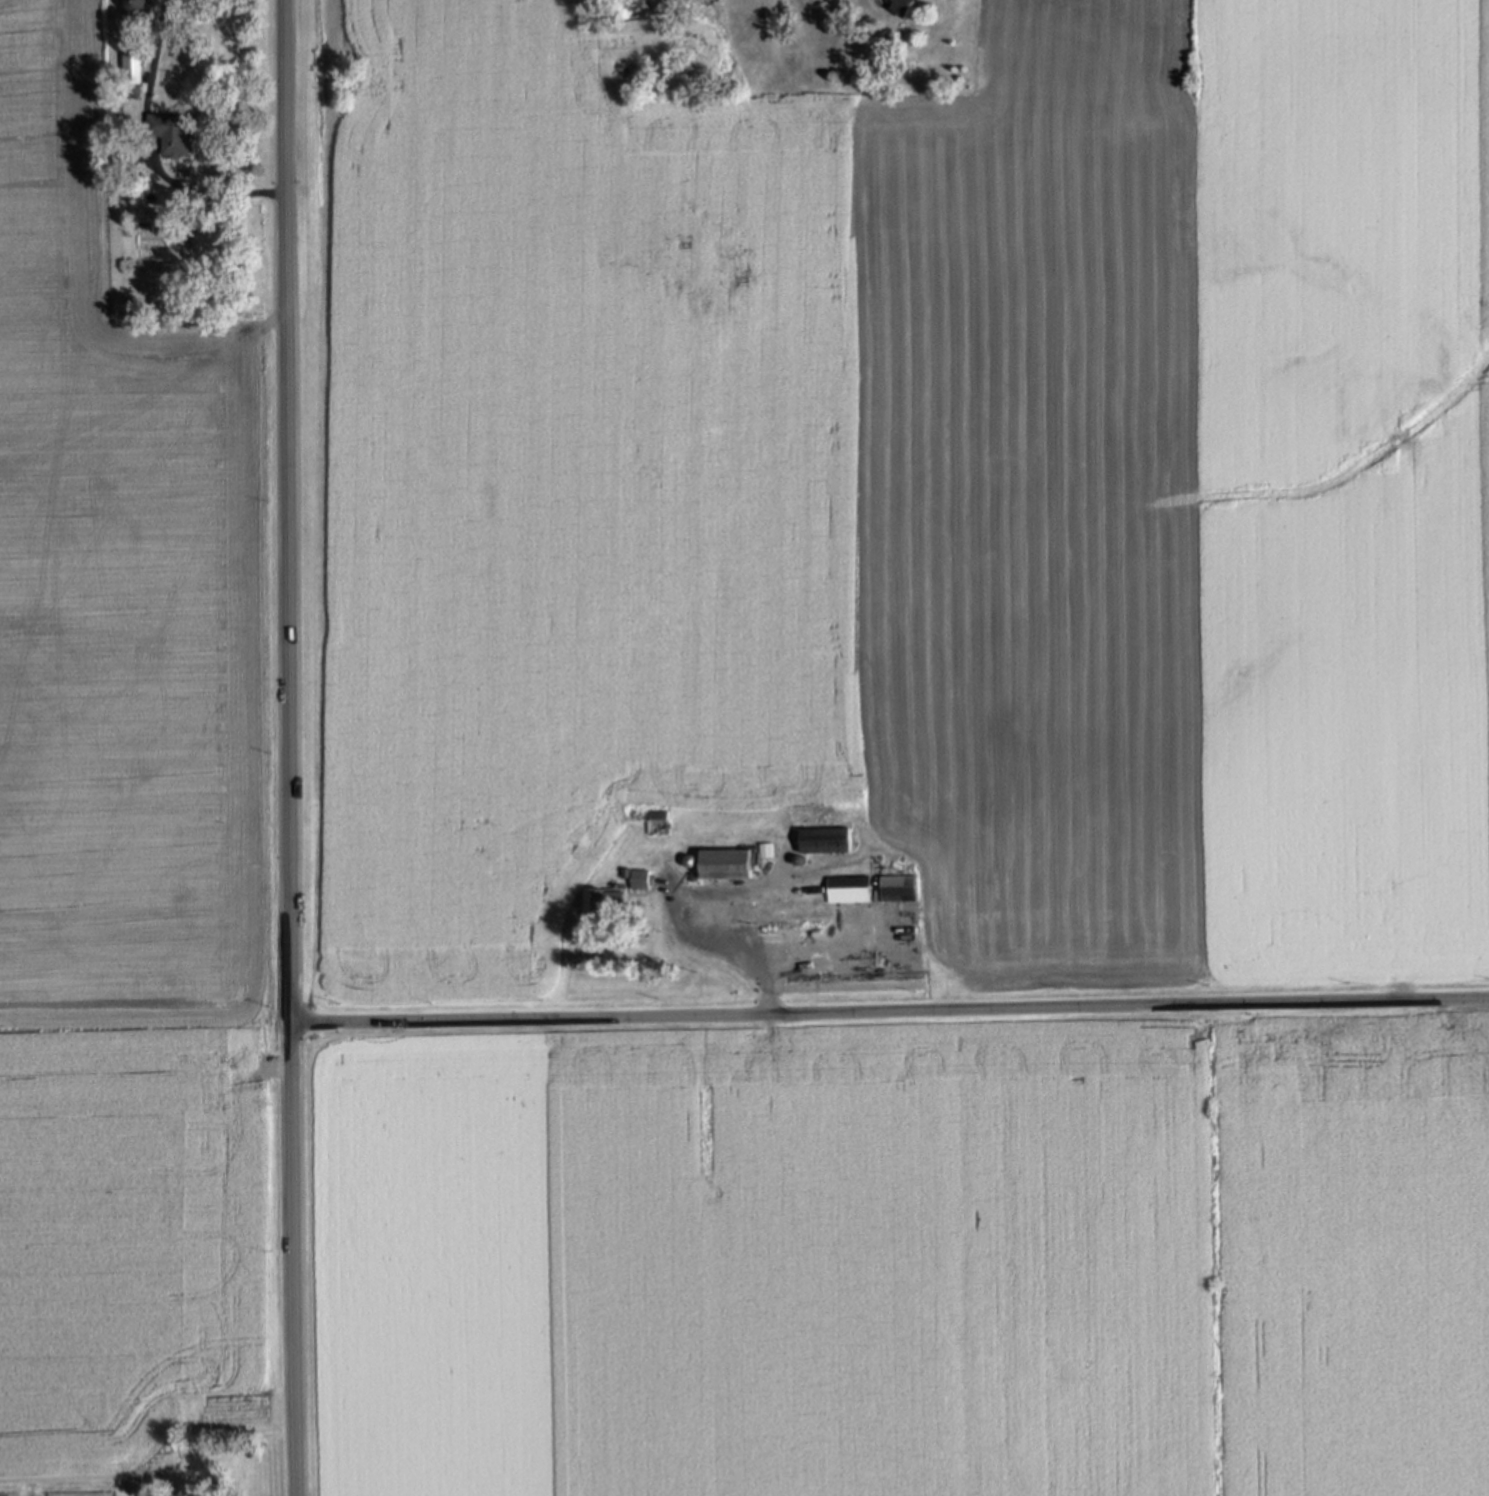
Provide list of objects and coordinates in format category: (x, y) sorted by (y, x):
building: (907, 7)
building: (132, 70)
building: (174, 131)
road: (146, 153)
road: (289, 748)
building: (658, 814)
building: (825, 840)
building: (765, 851)
building: (798, 860)
building: (689, 861)
building: (724, 864)
building: (626, 873)
building: (641, 879)
building: (898, 888)
road: (729, 891)
building: (607, 900)
building: (782, 907)
building: (827, 927)
building: (810, 930)
road: (694, 943)
building: (778, 966)
building: (517, 977)
road: (890, 1012)
road: (127, 1486)
building: (100, 1493)

